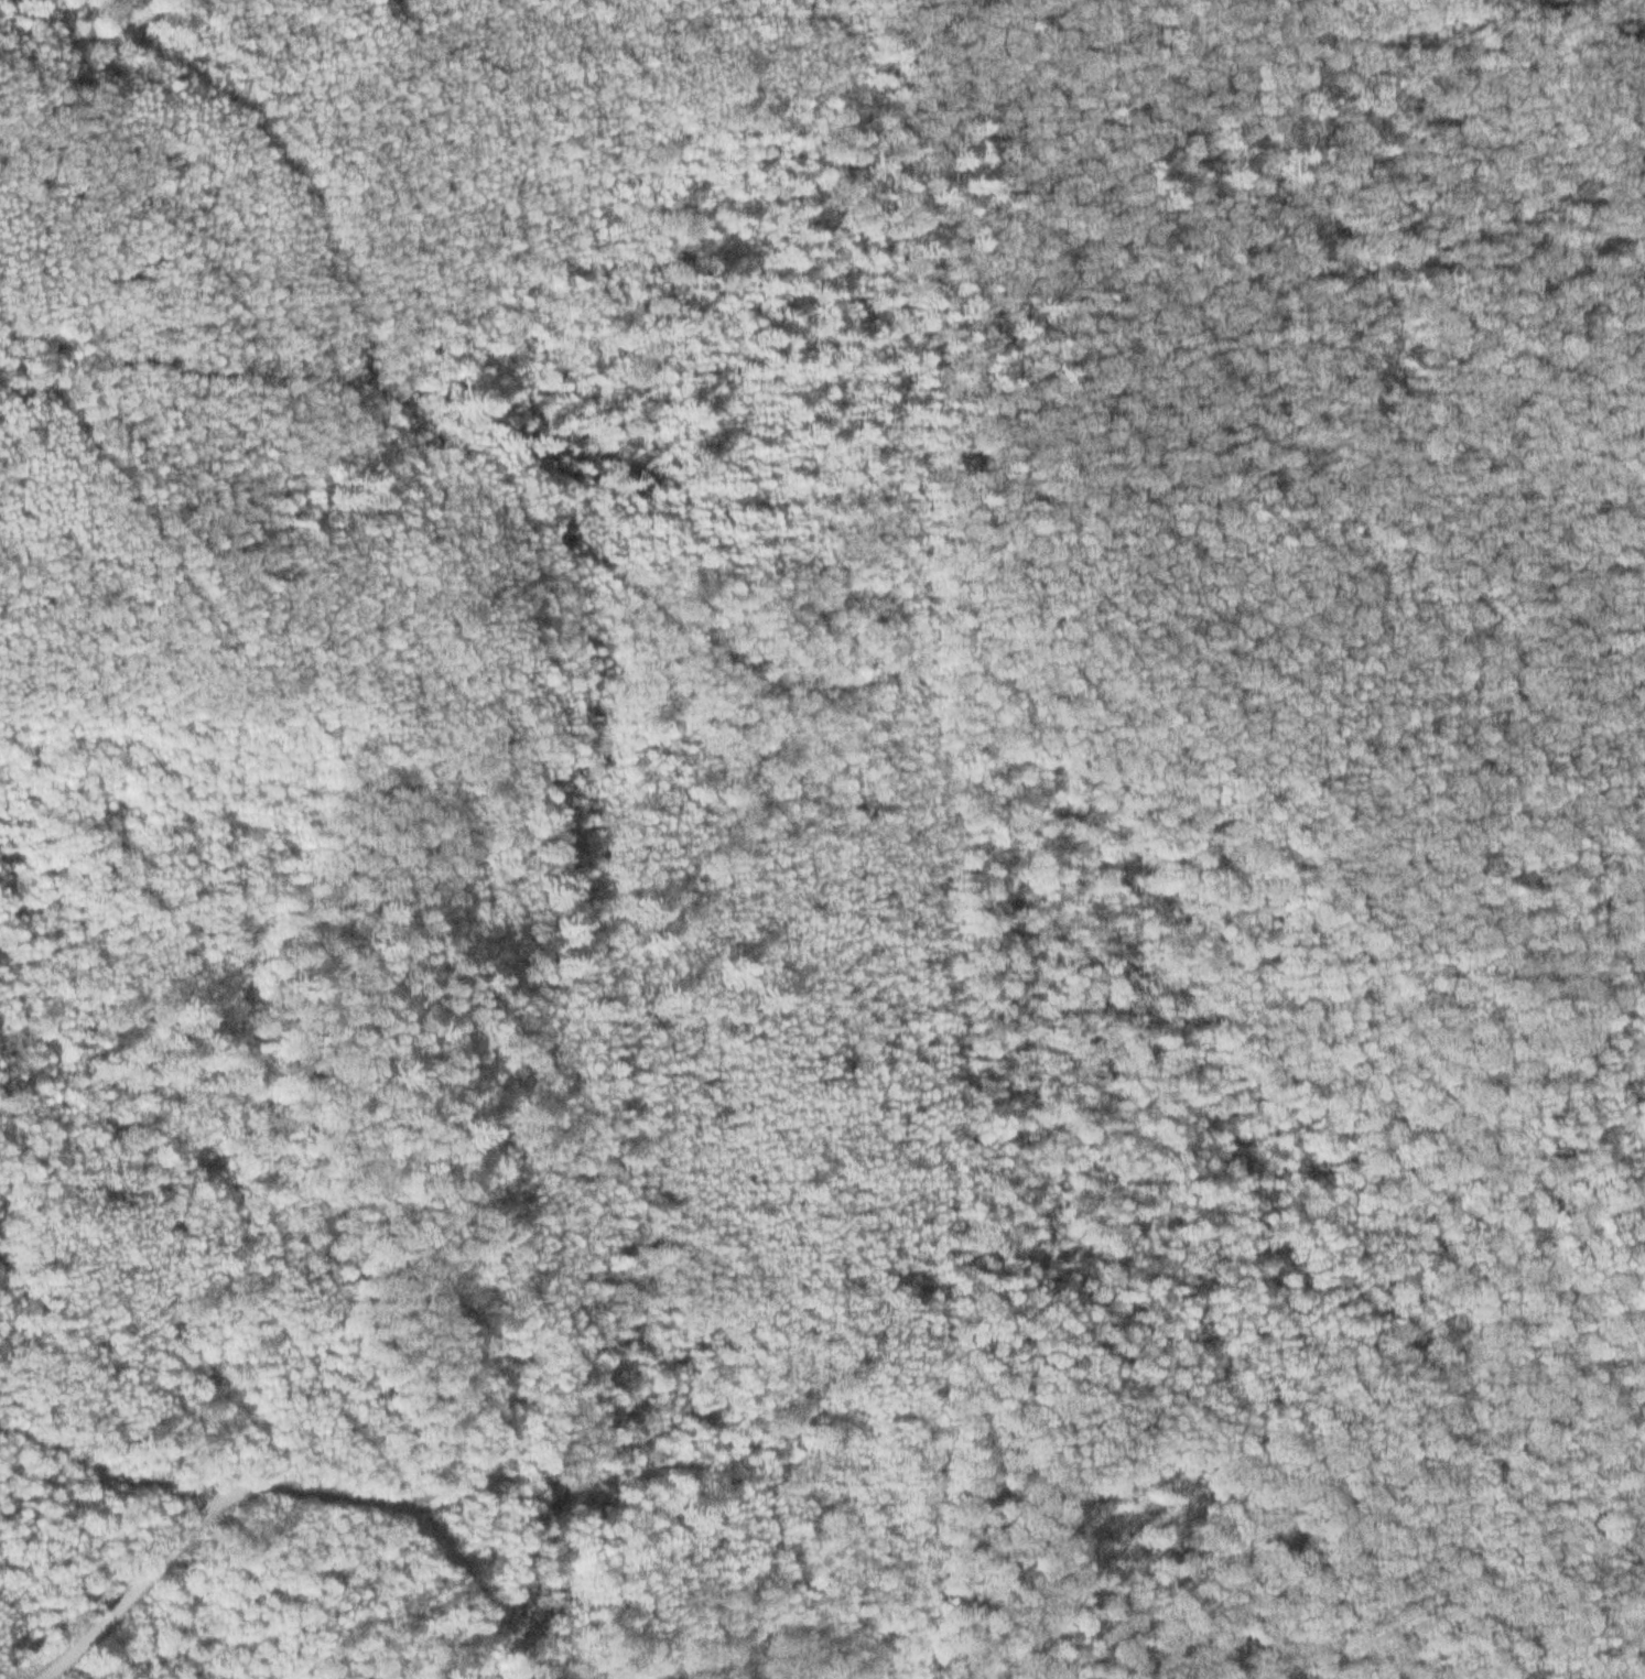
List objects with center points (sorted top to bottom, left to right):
road: (85, 71)
road: (302, 1484)
road: (724, 1671)

